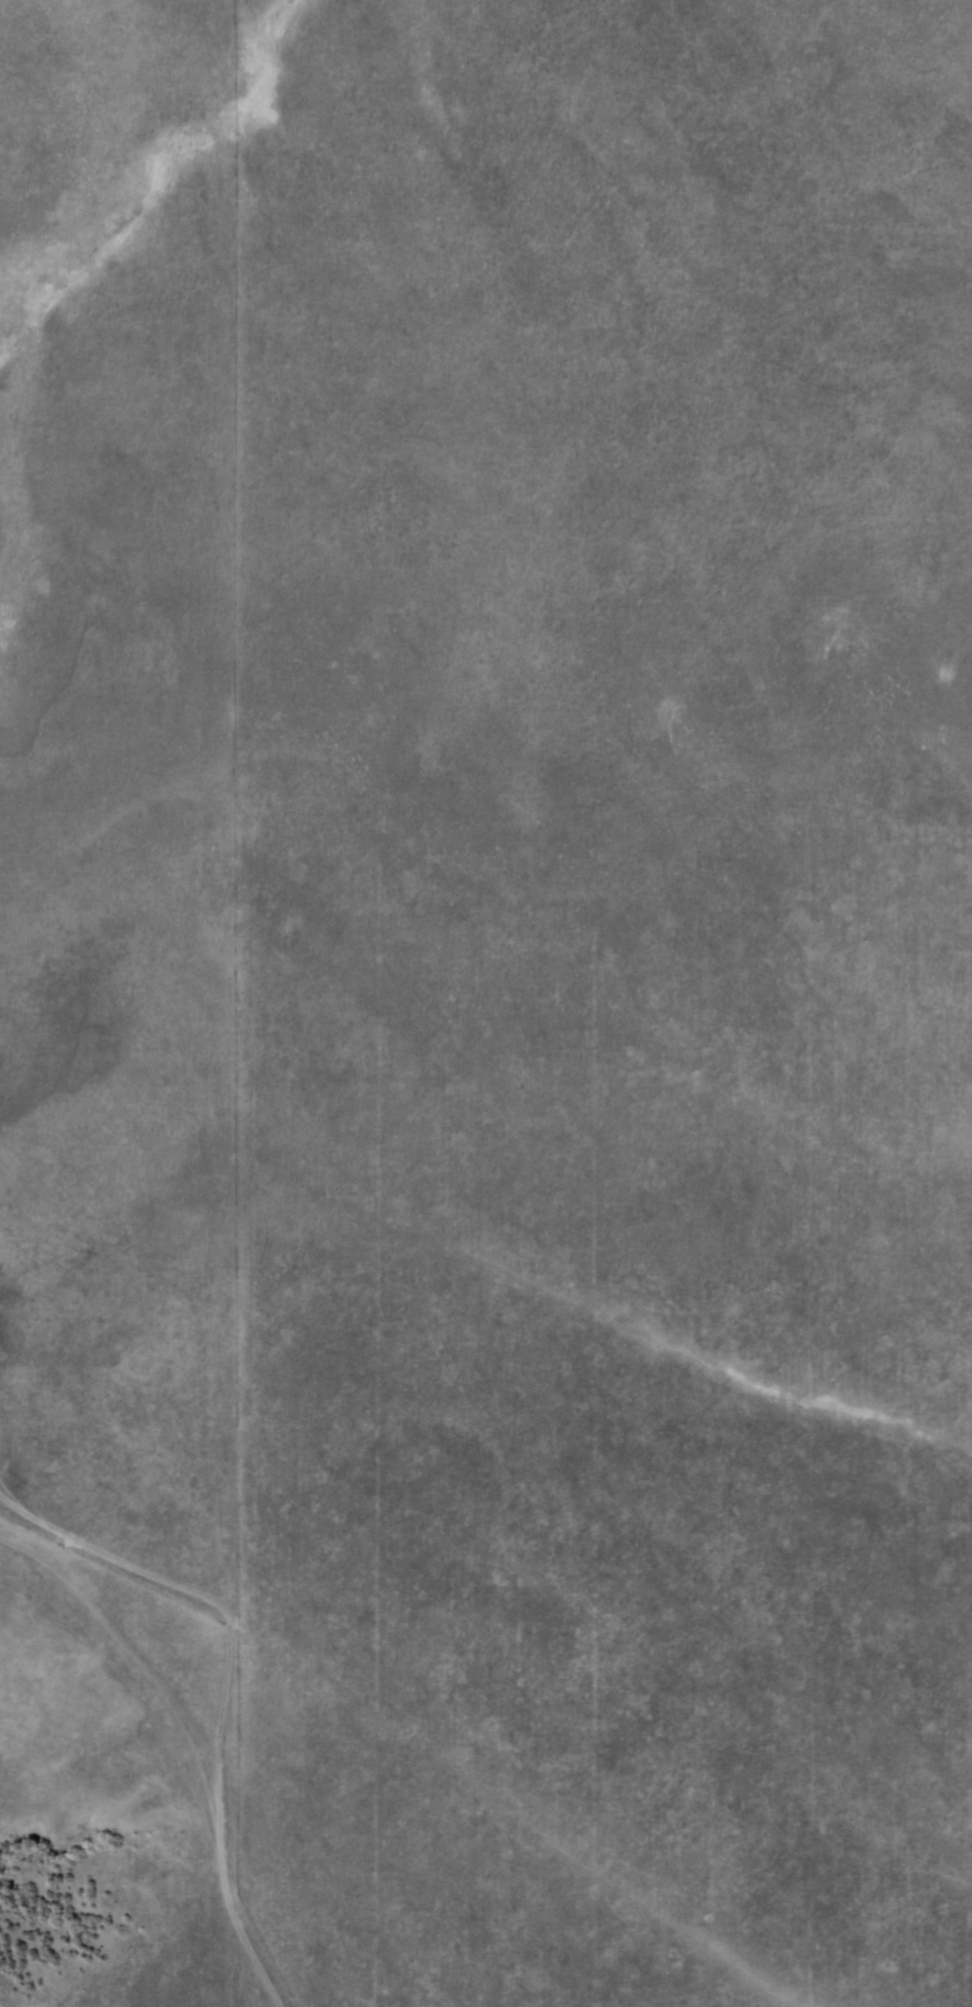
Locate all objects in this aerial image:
road: (69, 1838)

